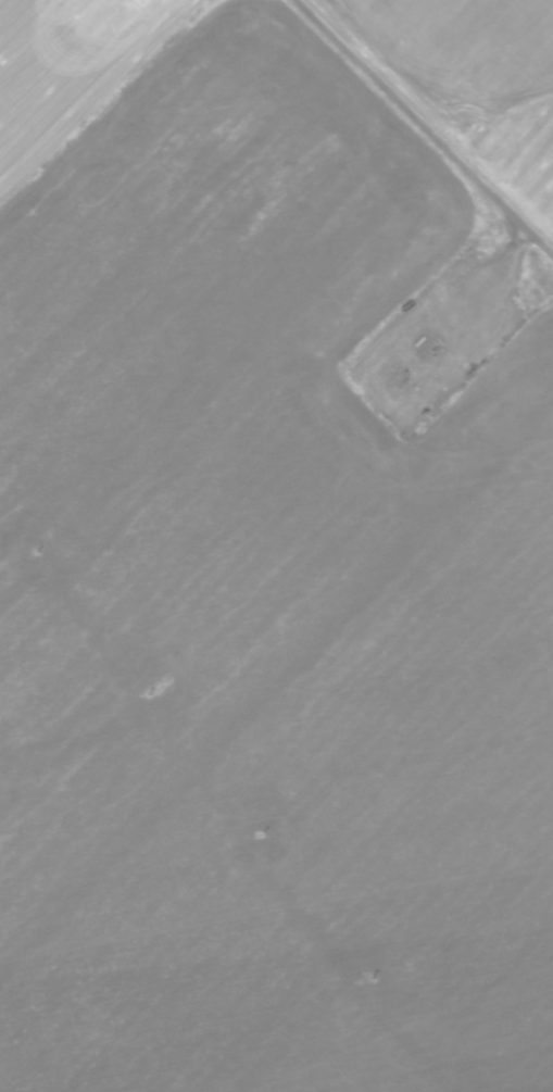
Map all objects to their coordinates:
road: (426, 126)

